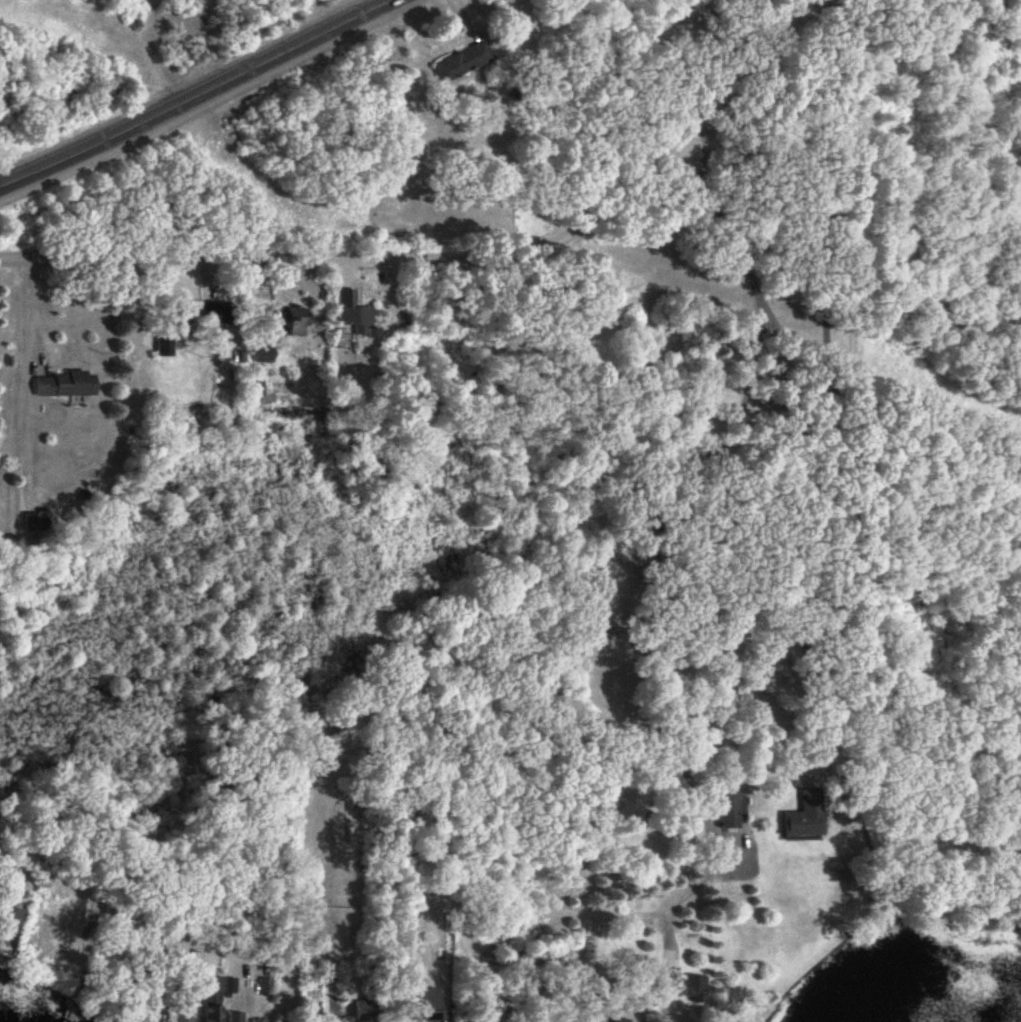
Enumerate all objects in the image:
building: (459, 61)
road: (194, 94)
road: (460, 263)
building: (219, 311)
building: (347, 313)
building: (294, 315)
building: (171, 326)
building: (261, 352)
building: (59, 384)
road: (657, 514)
road: (784, 522)
building: (732, 803)
building: (802, 816)
road: (321, 958)
building: (681, 983)
building: (261, 987)
building: (142, 996)
building: (209, 999)
building: (177, 1008)
building: (232, 1017)
building: (617, 1020)
building: (257, 1021)

